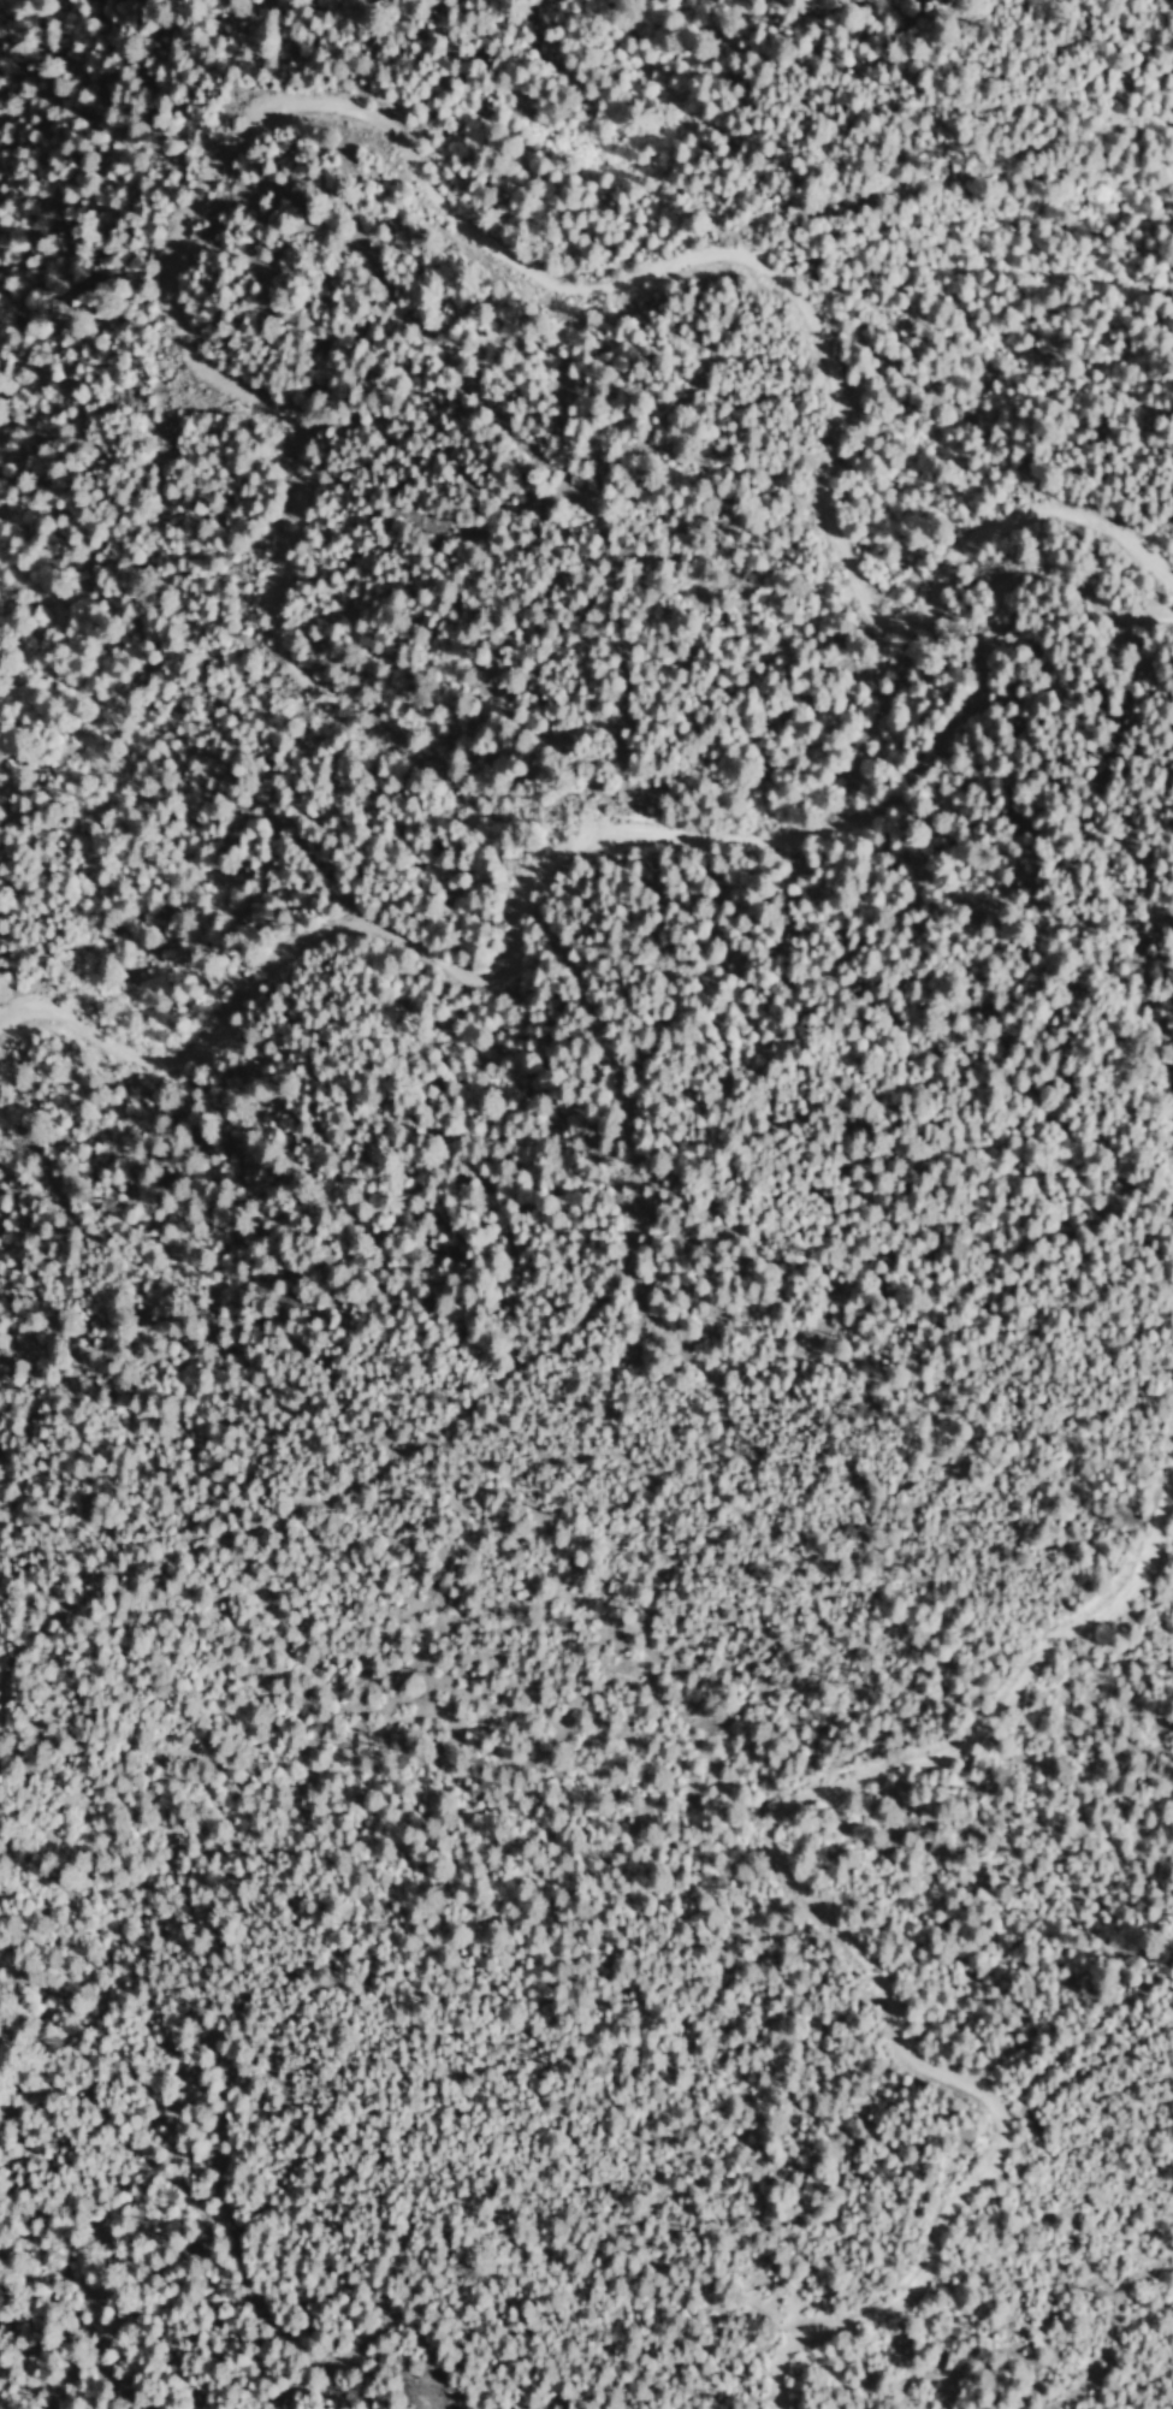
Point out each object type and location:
road: (257, 1031)
road: (552, 1081)
road: (1103, 2330)

